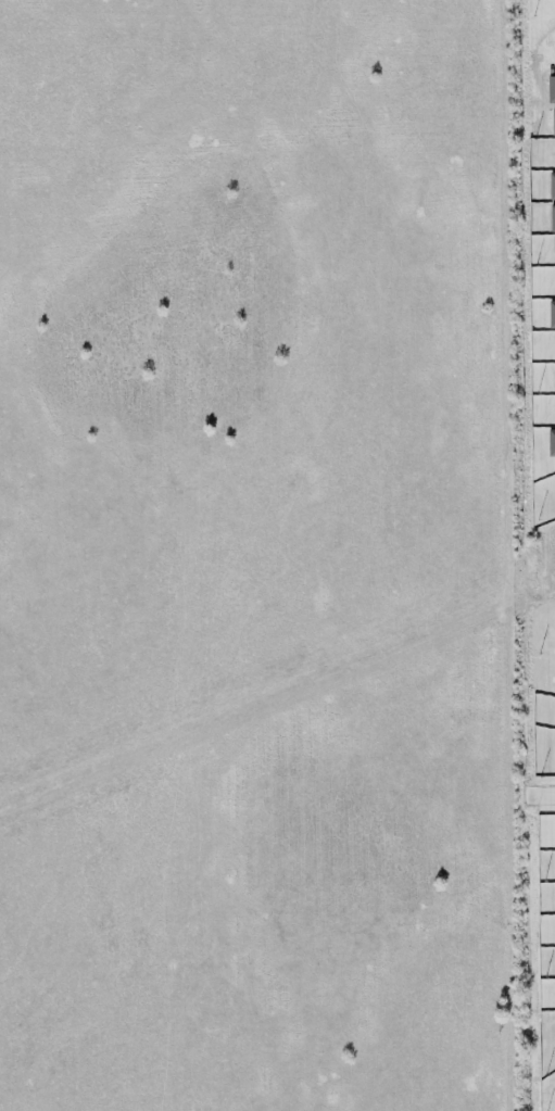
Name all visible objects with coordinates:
road: (541, 797)

